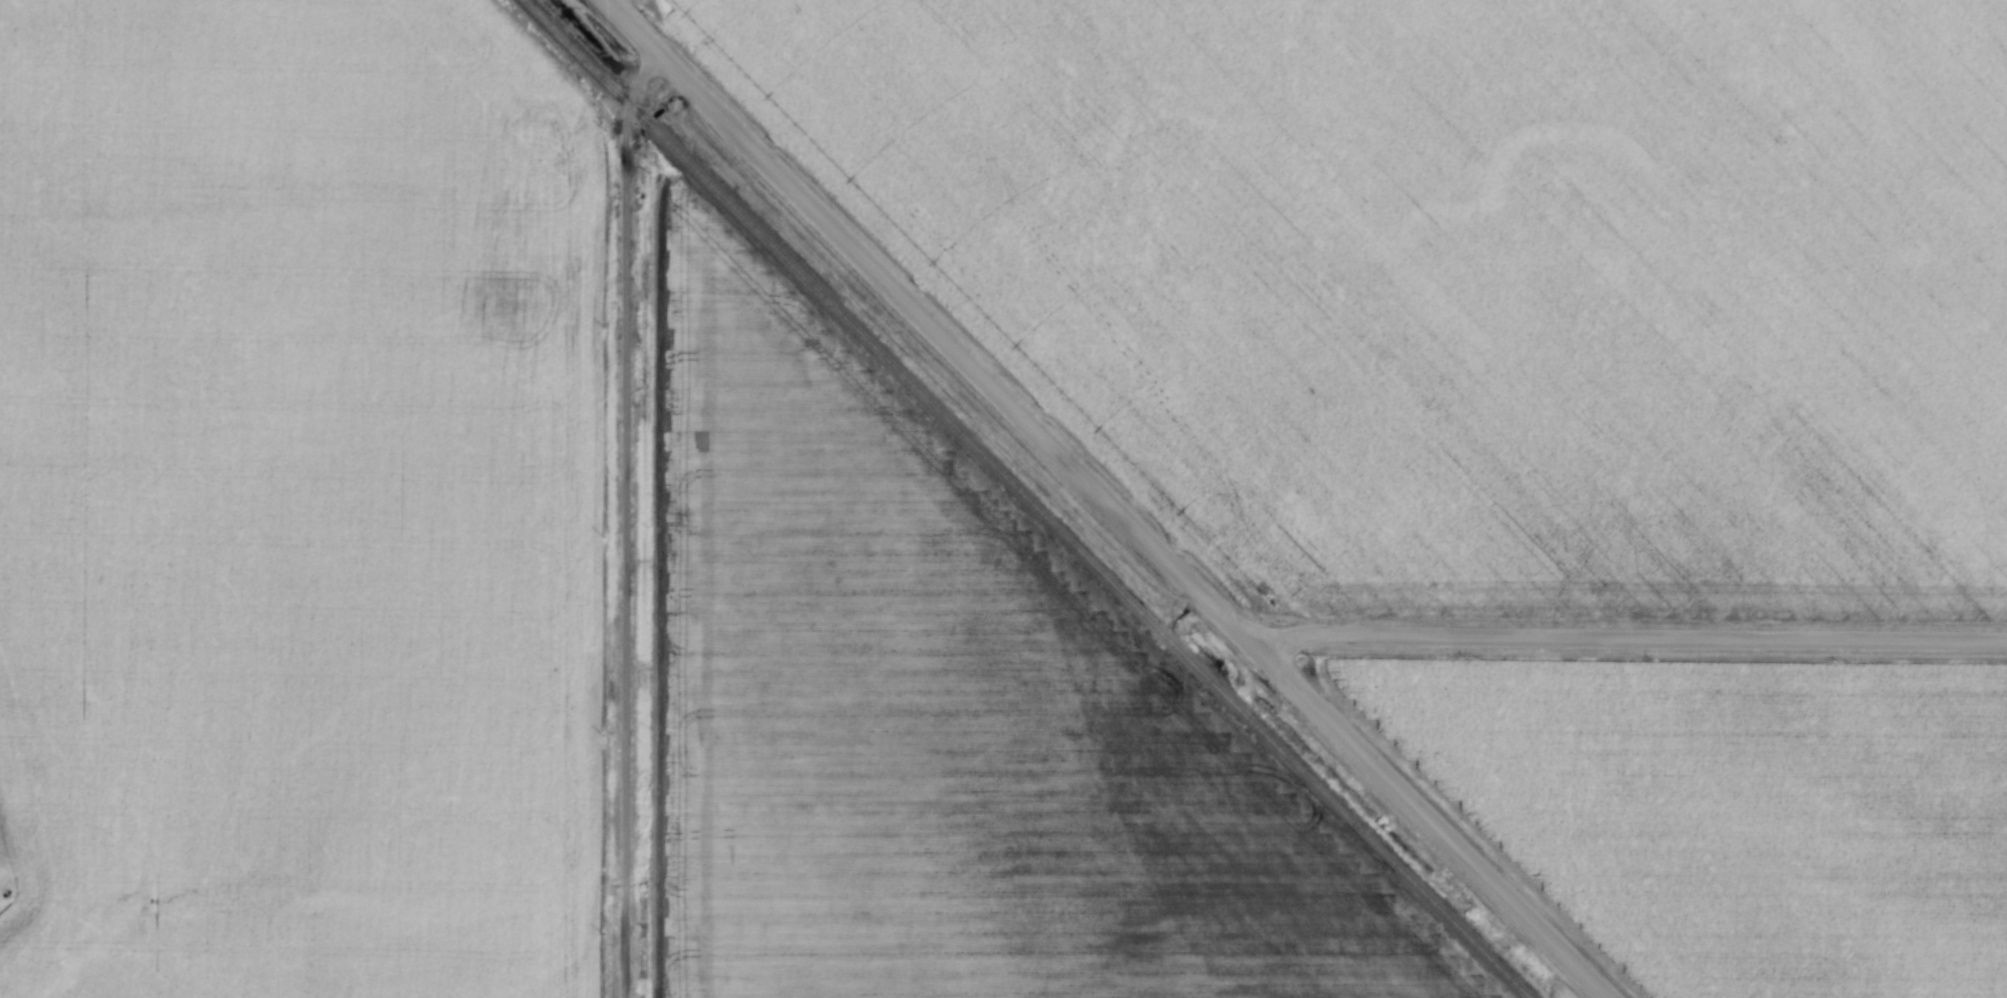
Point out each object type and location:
railway: (1031, 498)
road: (1102, 500)
road: (624, 521)
road: (1631, 635)

